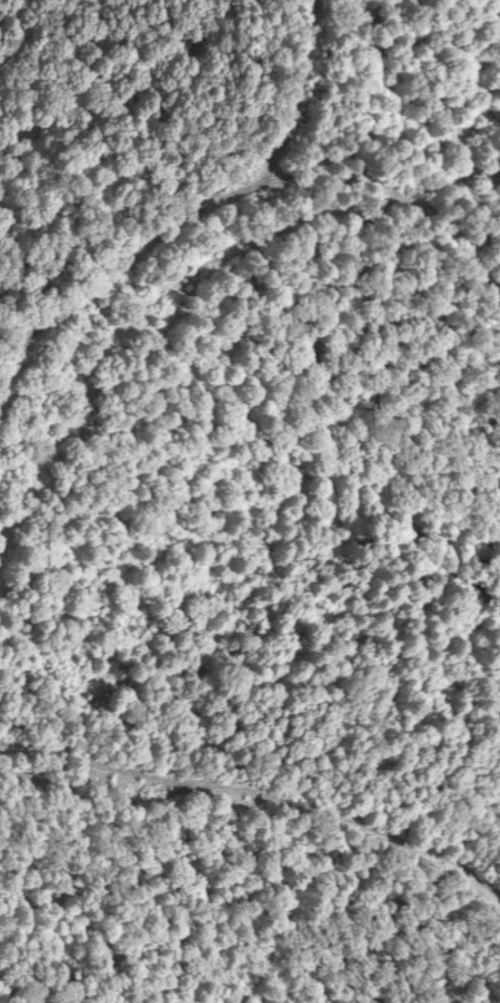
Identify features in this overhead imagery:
road: (165, 235)

